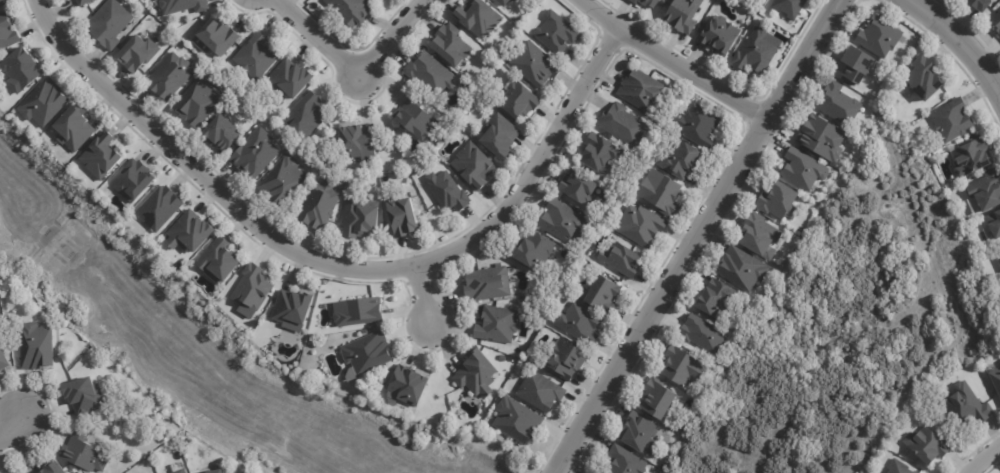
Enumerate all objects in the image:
building: (511, 0)
building: (84, 2)
building: (501, 2)
building: (2, 3)
building: (646, 3)
building: (979, 4)
building: (181, 6)
building: (789, 8)
building: (351, 10)
building: (682, 16)
building: (478, 17)
building: (996, 20)
building: (107, 24)
building: (556, 32)
building: (8, 33)
building: (216, 36)
building: (720, 36)
building: (879, 38)
road: (319, 39)
road: (391, 39)
road: (956, 40)
building: (449, 44)
building: (755, 51)
building: (137, 54)
building: (255, 56)
road: (670, 63)
building: (534, 64)
building: (855, 66)
building: (23, 68)
building: (428, 74)
building: (168, 77)
building: (925, 77)
building: (290, 78)
building: (640, 89)
building: (517, 99)
building: (45, 102)
building: (196, 102)
building: (838, 105)
building: (304, 116)
building: (417, 118)
building: (951, 121)
building: (74, 127)
building: (623, 127)
building: (697, 127)
building: (220, 133)
building: (498, 136)
building: (822, 138)
building: (354, 144)
building: (599, 152)
building: (255, 154)
building: (104, 155)
building: (971, 156)
building: (677, 163)
building: (474, 165)
building: (803, 169)
building: (137, 179)
building: (283, 181)
building: (580, 188)
building: (986, 189)
building: (448, 191)
building: (660, 193)
building: (778, 200)
building: (320, 205)
building: (160, 208)
building: (401, 216)
building: (360, 219)
building: (562, 221)
building: (994, 223)
building: (640, 227)
building: (192, 232)
road: (695, 237)
building: (758, 237)
building: (534, 250)
building: (997, 257)
building: (621, 259)
building: (221, 260)
road: (333, 267)
building: (742, 268)
building: (999, 276)
building: (487, 283)
building: (252, 288)
building: (605, 294)
building: (714, 298)
road: (427, 304)
building: (293, 308)
building: (356, 313)
building: (497, 323)
building: (577, 324)
building: (699, 332)
building: (38, 345)
building: (365, 353)
building: (564, 361)
building: (999, 361)
building: (1, 365)
building: (683, 367)
building: (478, 373)
building: (995, 380)
building: (410, 387)
building: (541, 392)
building: (84, 396)
building: (658, 398)
building: (968, 405)
building: (517, 421)
road: (10, 423)
building: (639, 436)
building: (927, 446)
building: (83, 455)
road: (987, 461)
building: (625, 462)
road: (570, 465)
building: (899, 466)
building: (49, 468)
building: (180, 471)
building: (15, 472)
building: (63, 472)
building: (218, 472)

